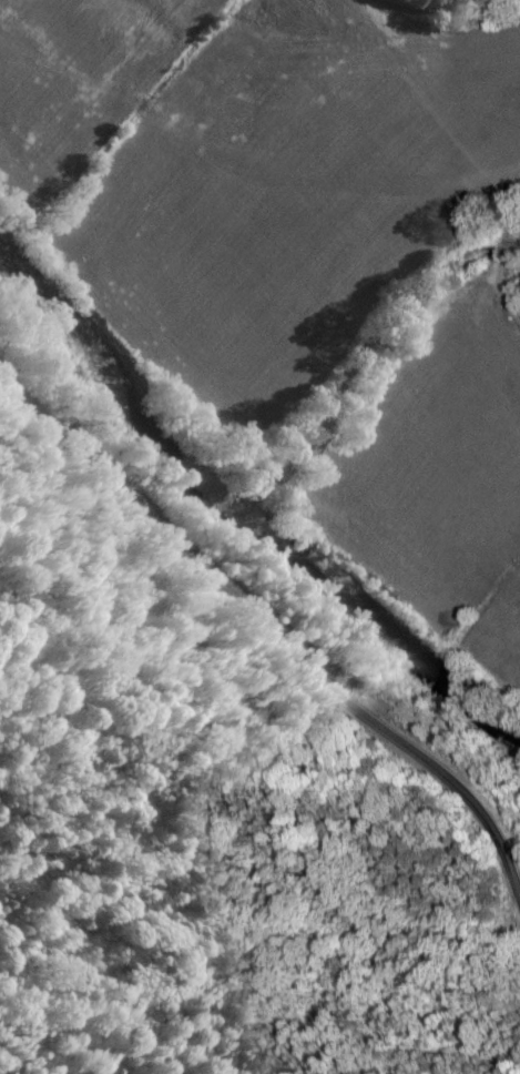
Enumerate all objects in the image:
road: (272, 644)
river: (508, 727)

